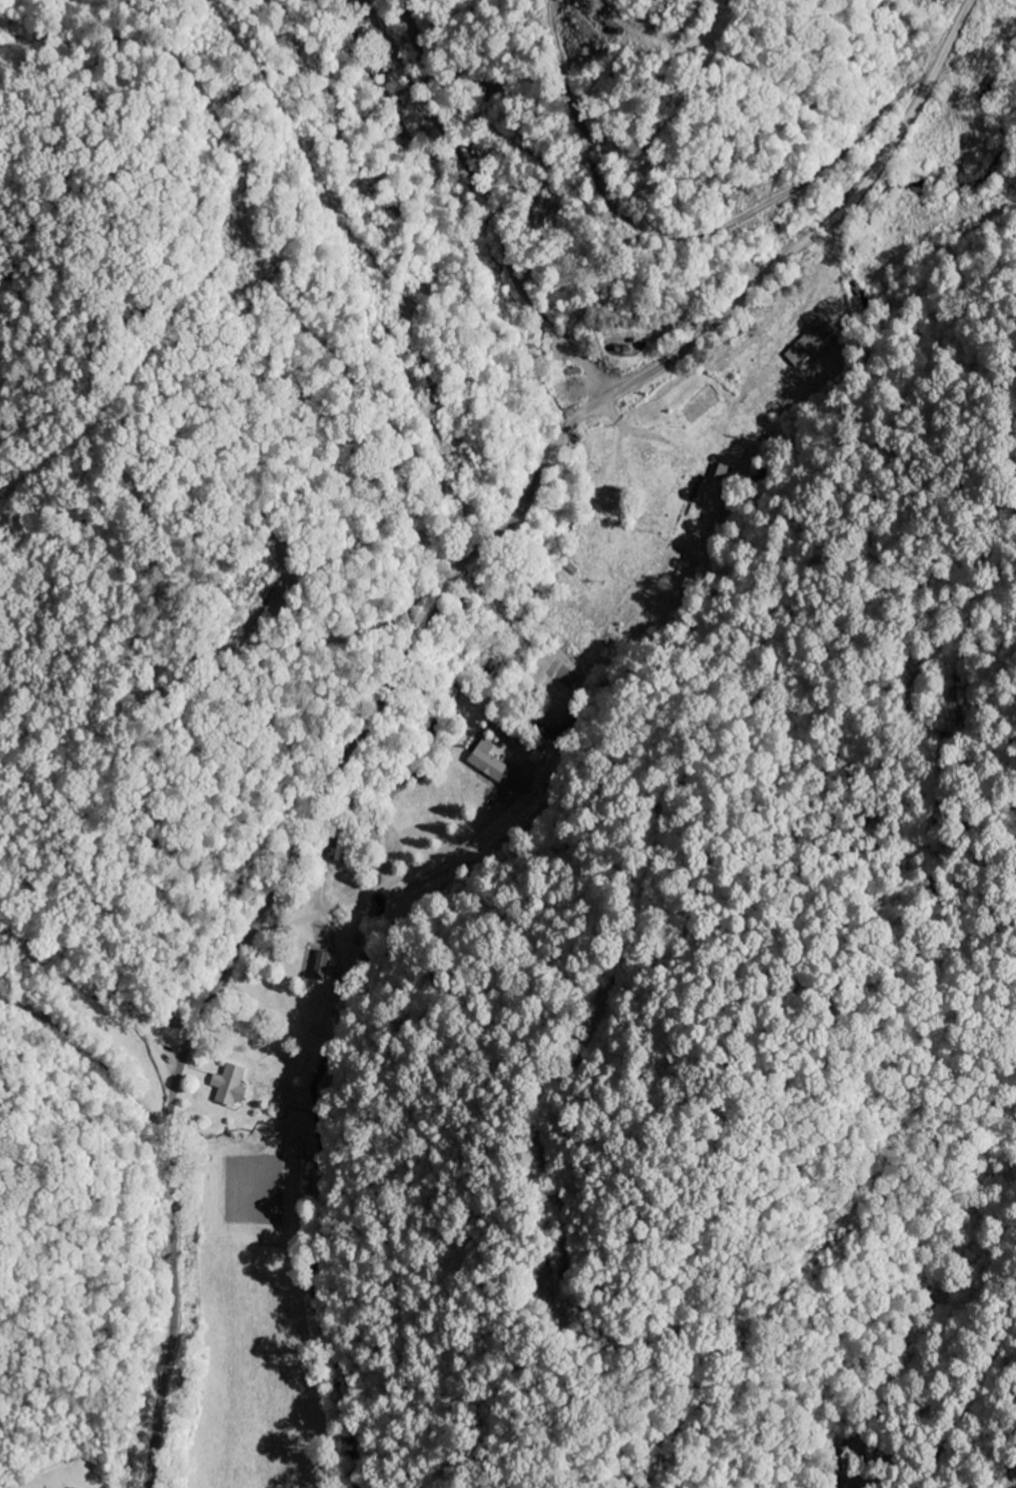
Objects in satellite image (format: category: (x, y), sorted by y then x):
road: (453, 208)
building: (808, 342)
building: (720, 472)
building: (610, 499)
road: (404, 662)
building: (492, 766)
building: (319, 966)
building: (228, 1086)
park: (67, 1473)

